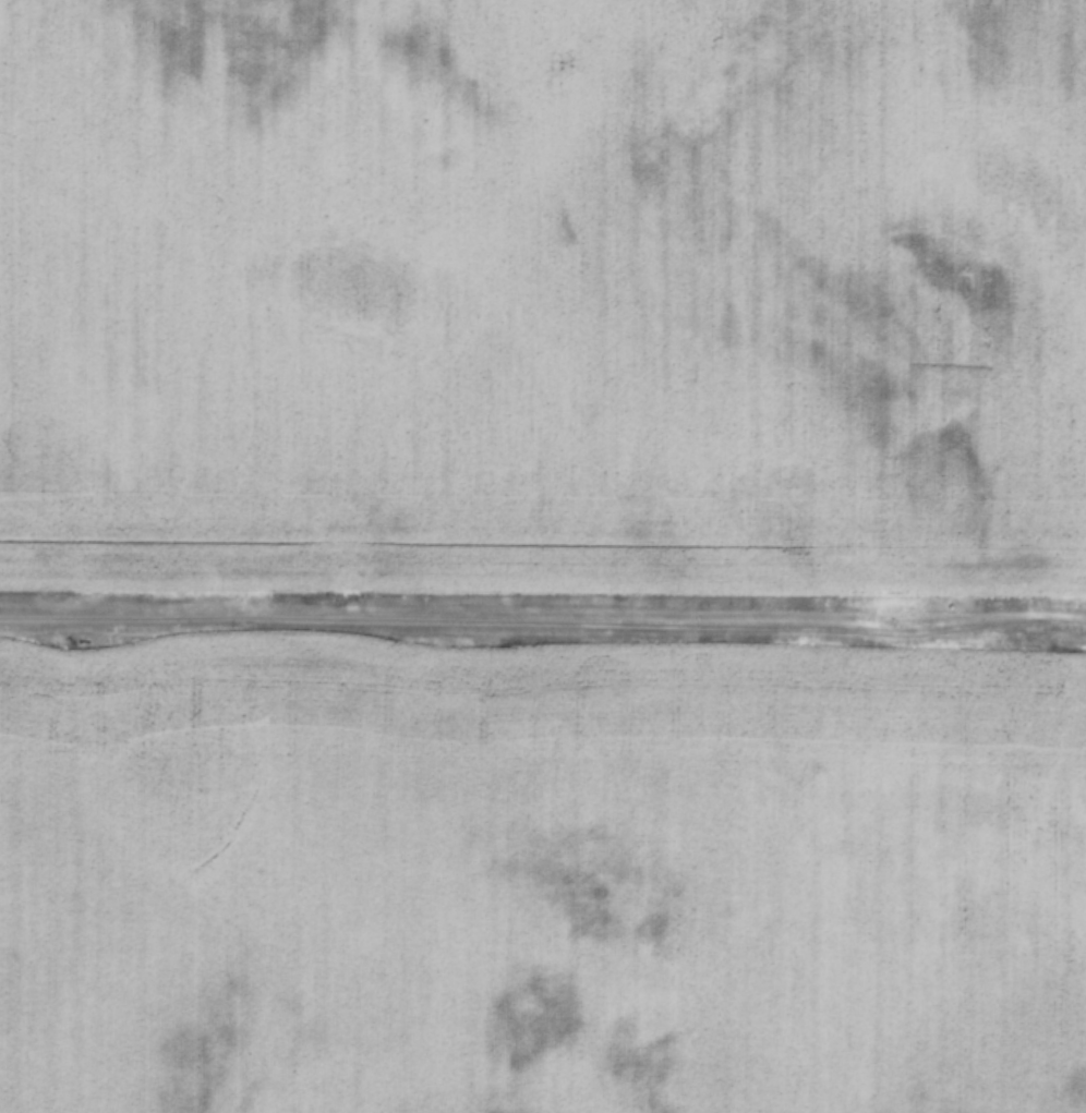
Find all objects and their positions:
crop: (544, 291)
road: (543, 616)

